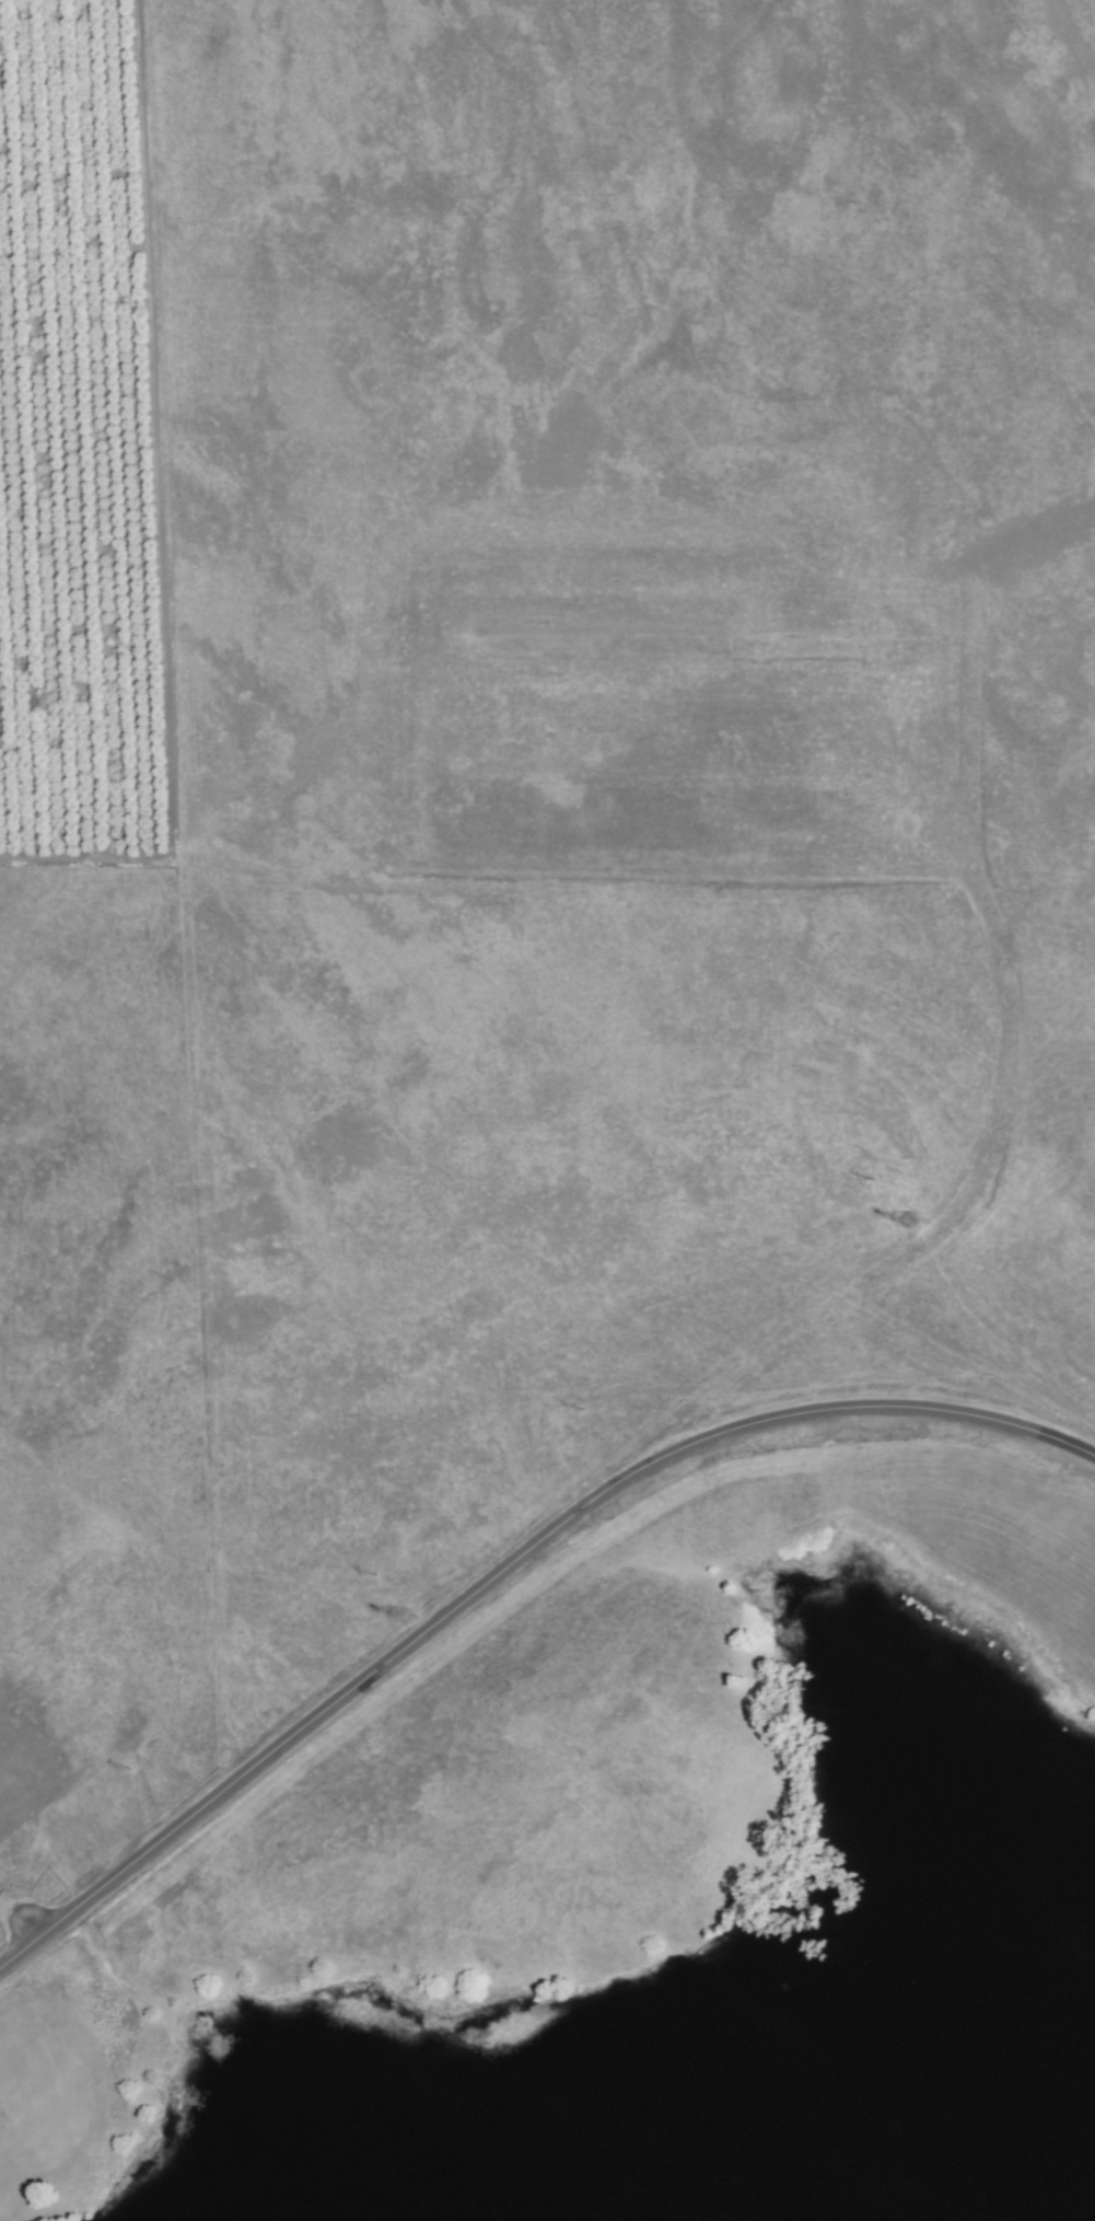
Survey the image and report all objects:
power tower: (908, 1219)
road: (511, 1570)
power tower: (408, 1615)

